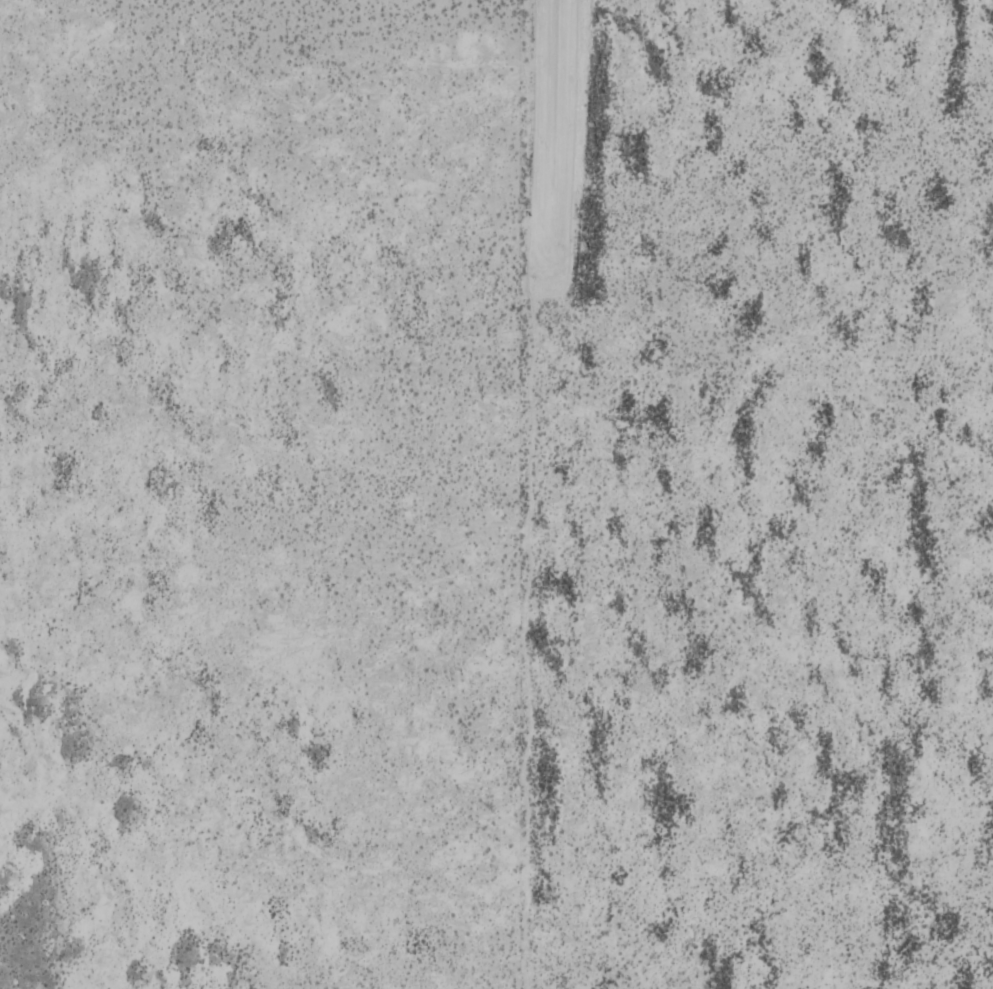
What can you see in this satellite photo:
airport runway: (546, 144)

